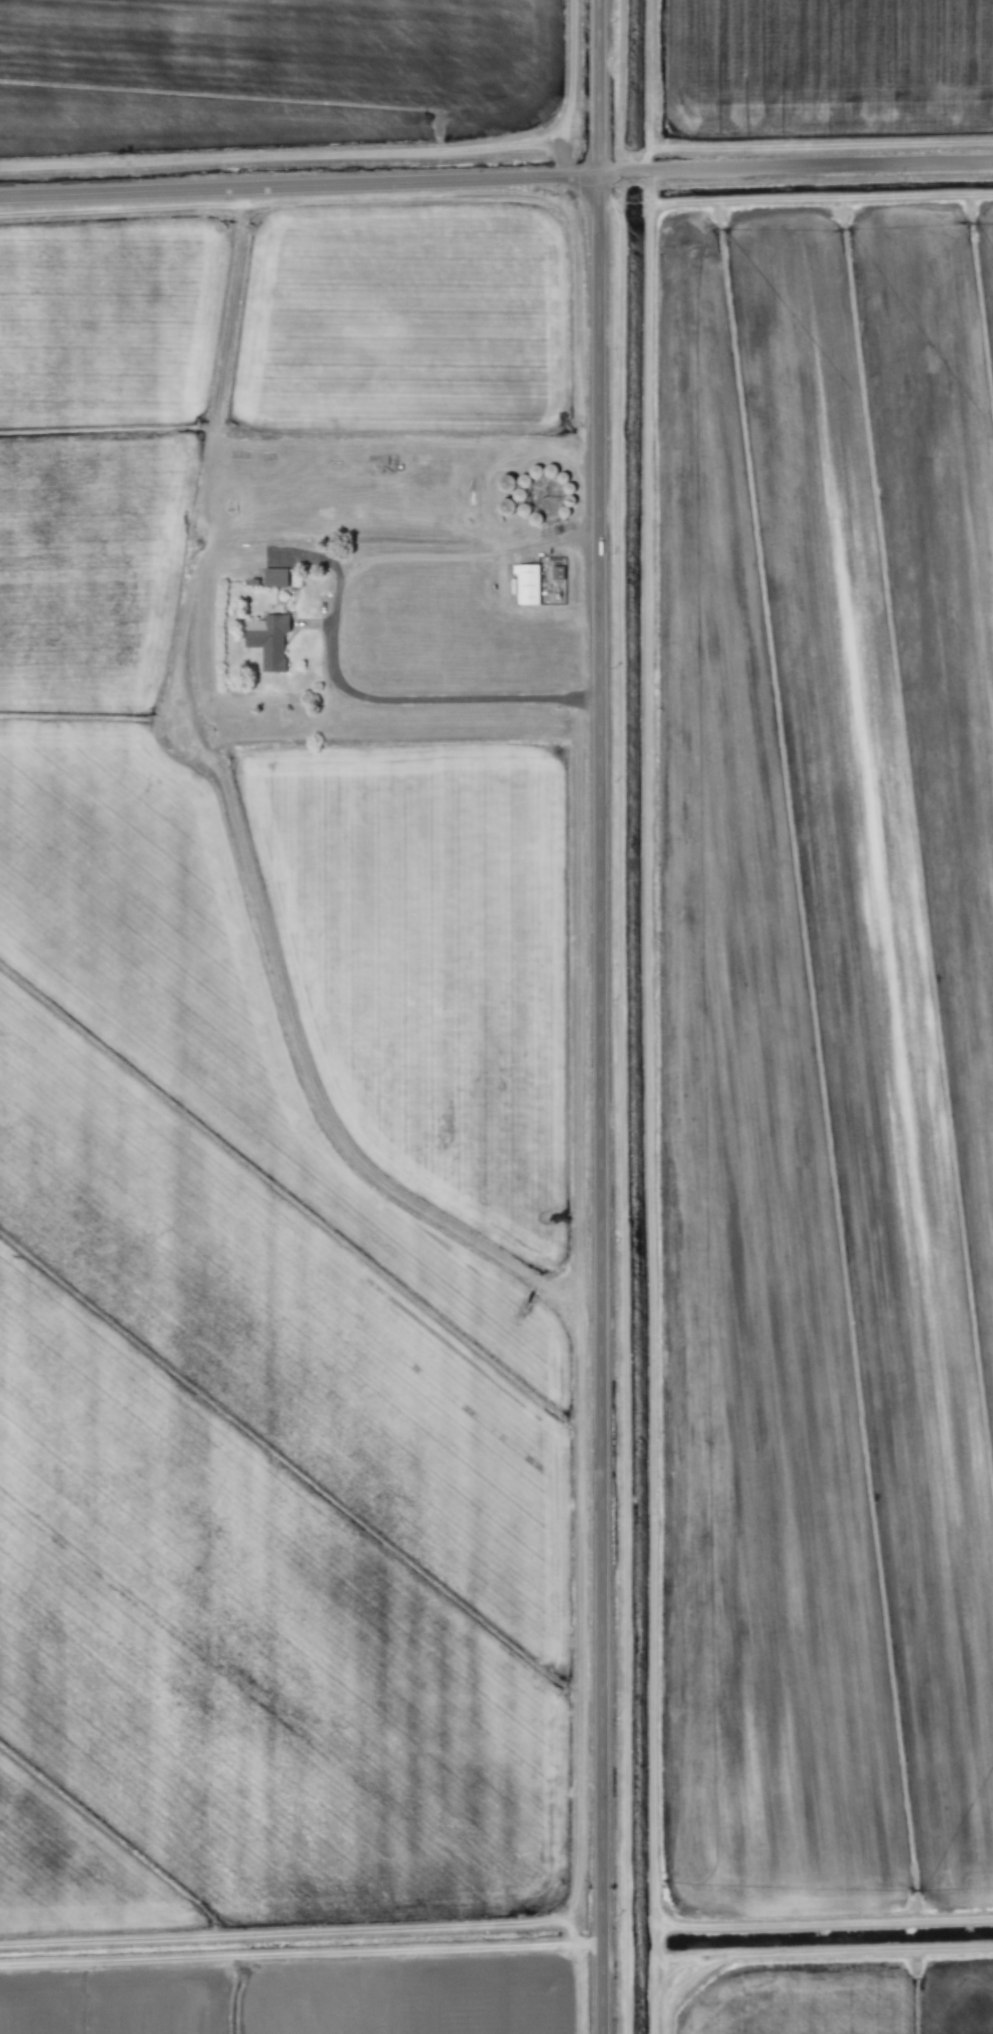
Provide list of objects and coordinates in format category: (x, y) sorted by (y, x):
road: (794, 170)
road: (298, 185)
road: (465, 556)
building: (275, 577)
building: (527, 584)
building: (267, 639)
road: (375, 698)
road: (598, 1016)

